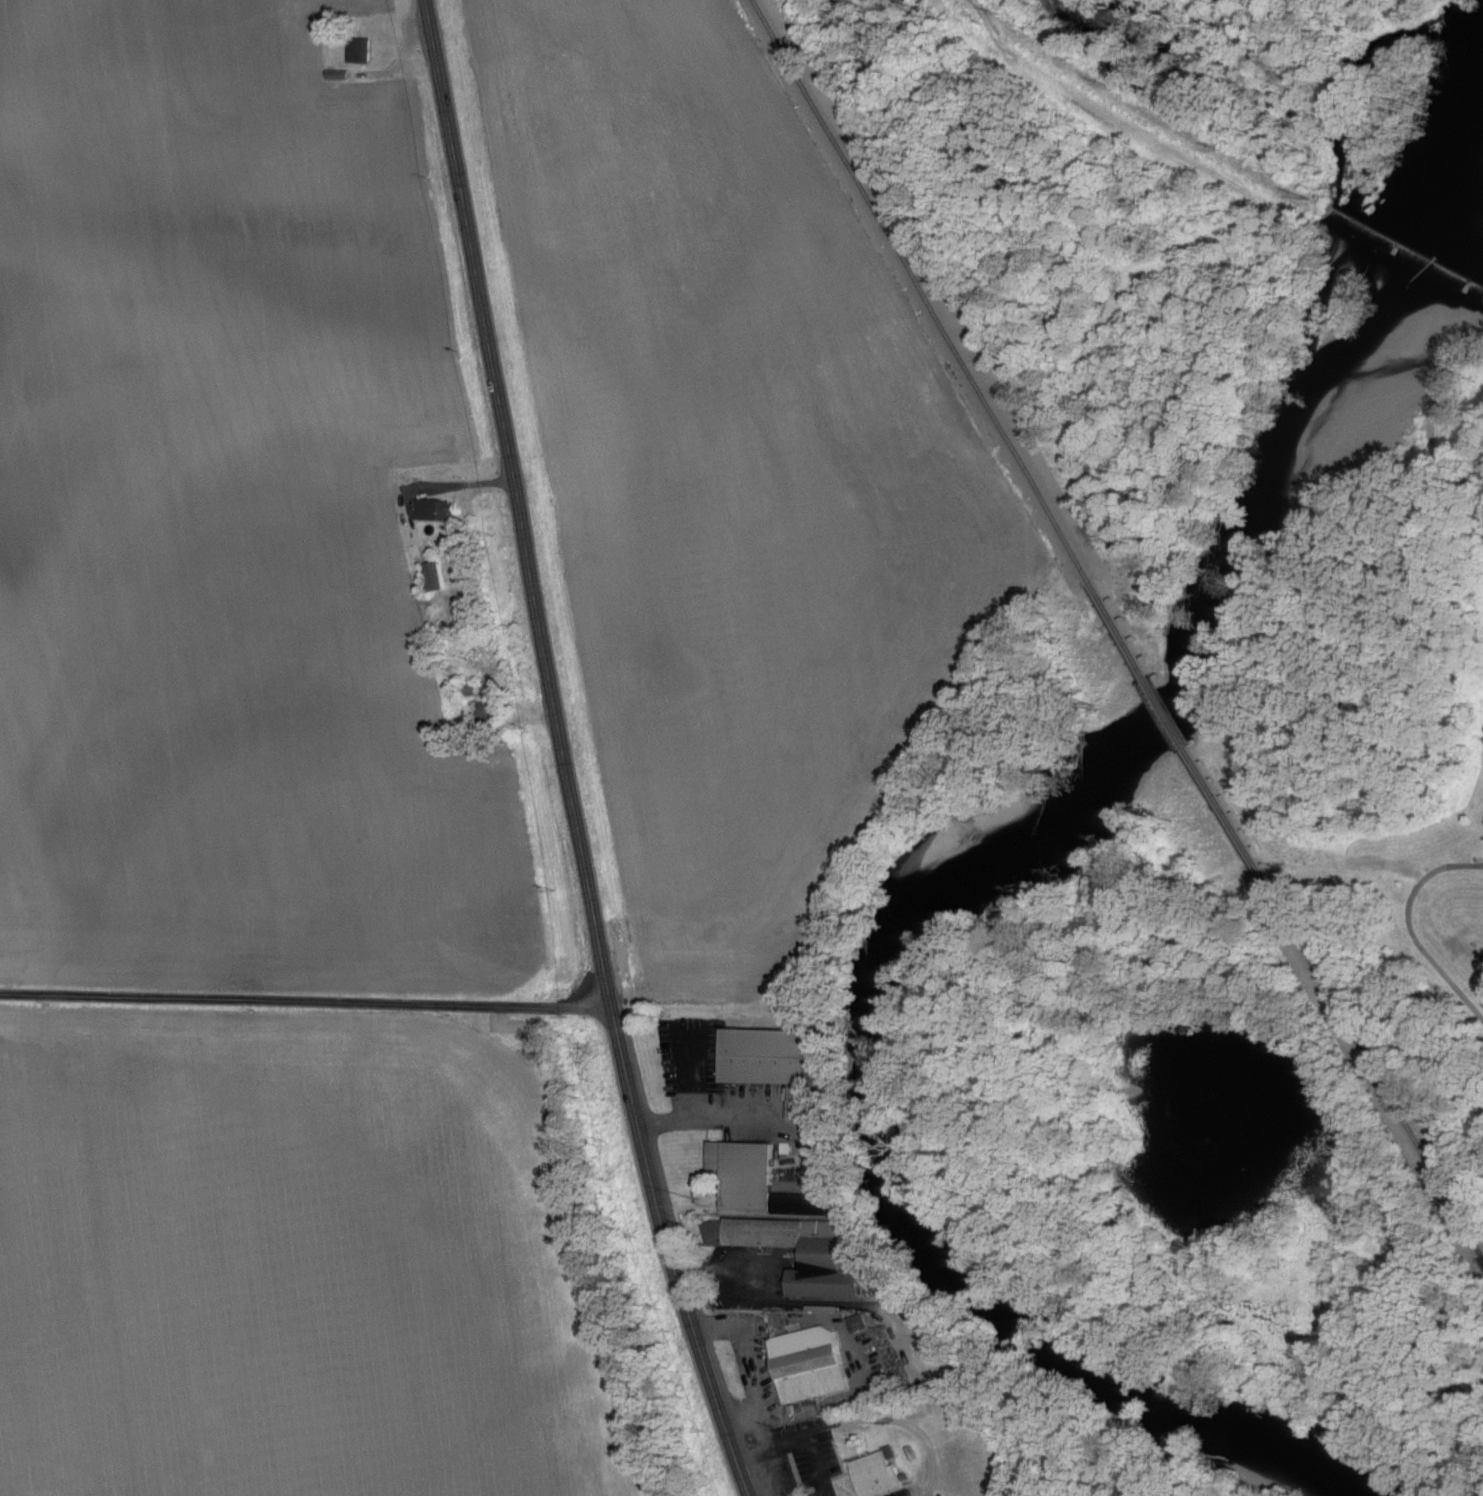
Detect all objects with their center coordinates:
building: (361, 51)
railway: (926, 294)
building: (437, 508)
building: (436, 575)
railway: (1182, 733)
road: (566, 753)
river: (995, 854)
road: (1414, 927)
road: (306, 1001)
park: (1263, 1006)
building: (770, 1054)
railway: (1374, 1057)
road: (692, 1078)
road: (725, 1121)
building: (742, 1171)
building: (807, 1203)
building: (820, 1257)
crop: (296, 1264)
road: (778, 1296)
building: (860, 1323)
road: (751, 1346)
building: (806, 1362)
road: (836, 1401)
road: (861, 1417)
road: (816, 1465)
building: (874, 1474)

